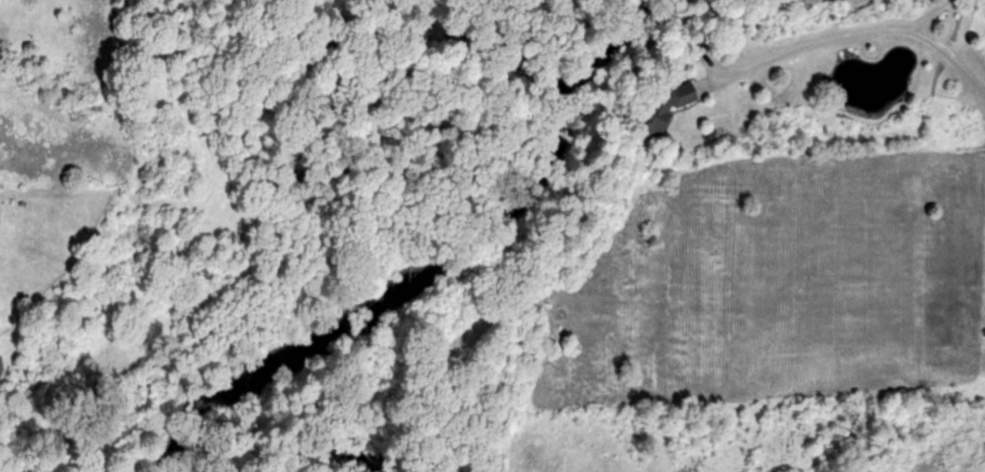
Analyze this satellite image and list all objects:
road: (919, 11)
road: (869, 29)
building: (667, 107)

